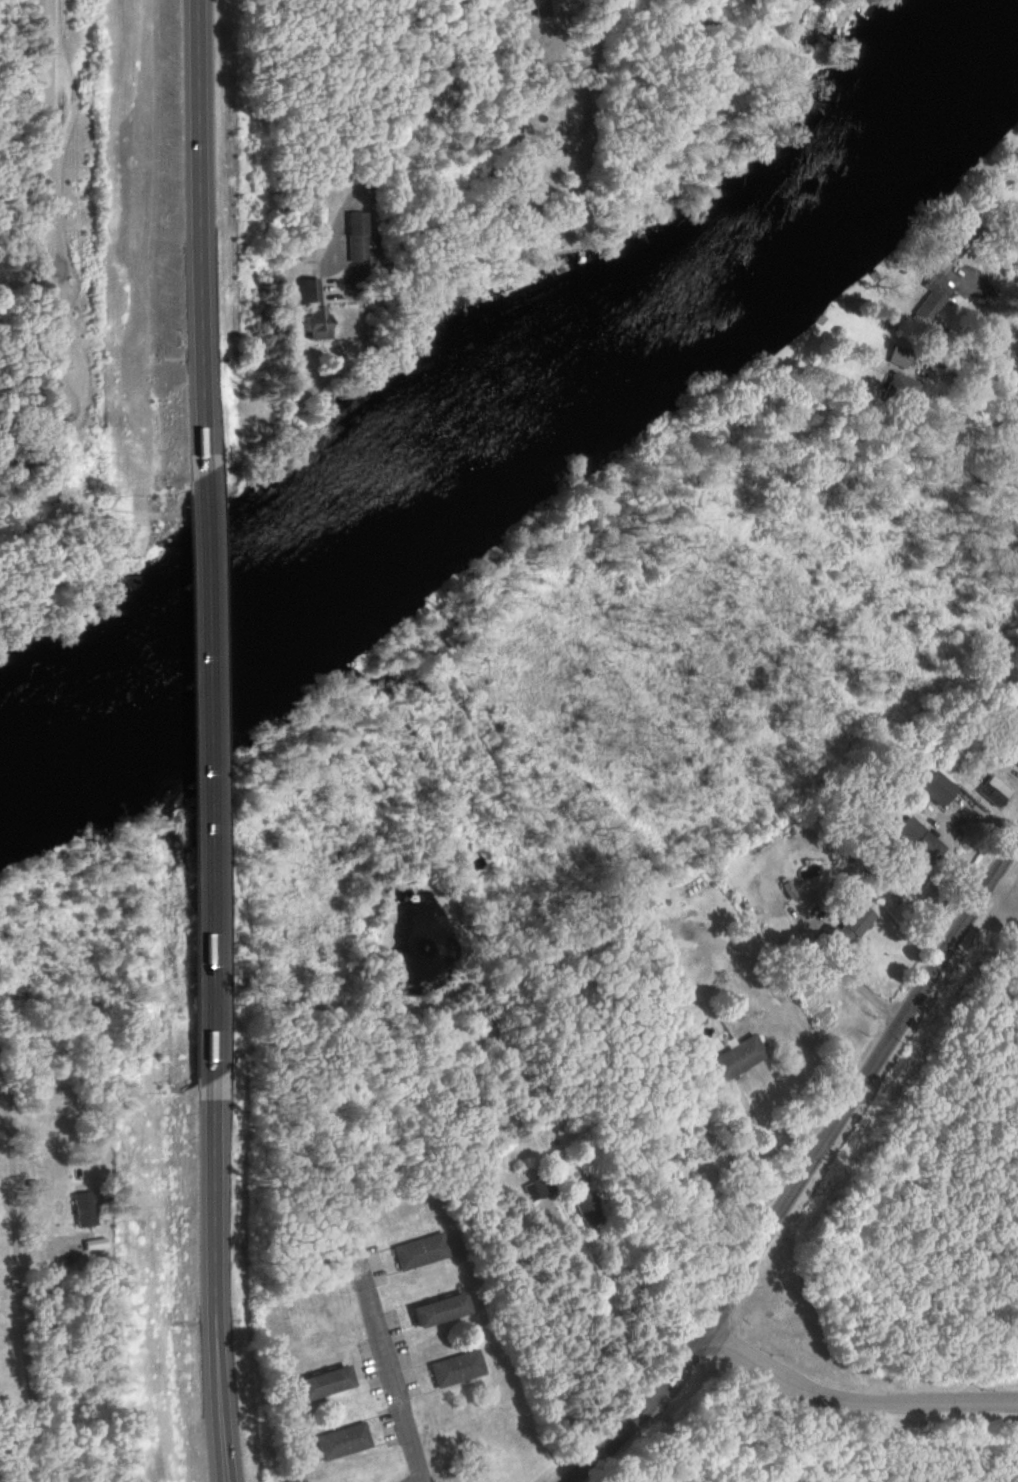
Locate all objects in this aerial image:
road: (368, 143)
road: (202, 235)
building: (961, 237)
building: (358, 238)
building: (310, 292)
building: (933, 299)
building: (315, 323)
building: (901, 357)
road: (973, 370)
building: (902, 391)
river: (520, 406)
building: (89, 500)
road: (207, 654)
building: (1010, 748)
building: (938, 790)
building: (994, 793)
building: (916, 839)
building: (851, 928)
road: (856, 984)
building: (737, 1059)
road: (760, 1138)
building: (150, 1155)
road: (211, 1159)
road: (5, 1170)
road: (806, 1170)
building: (536, 1189)
building: (584, 1202)
building: (84, 1209)
building: (421, 1252)
building: (443, 1309)
road: (600, 1314)
road: (26, 1344)
road: (391, 1369)
building: (457, 1369)
building: (326, 1383)
road: (854, 1398)
building: (343, 1442)

